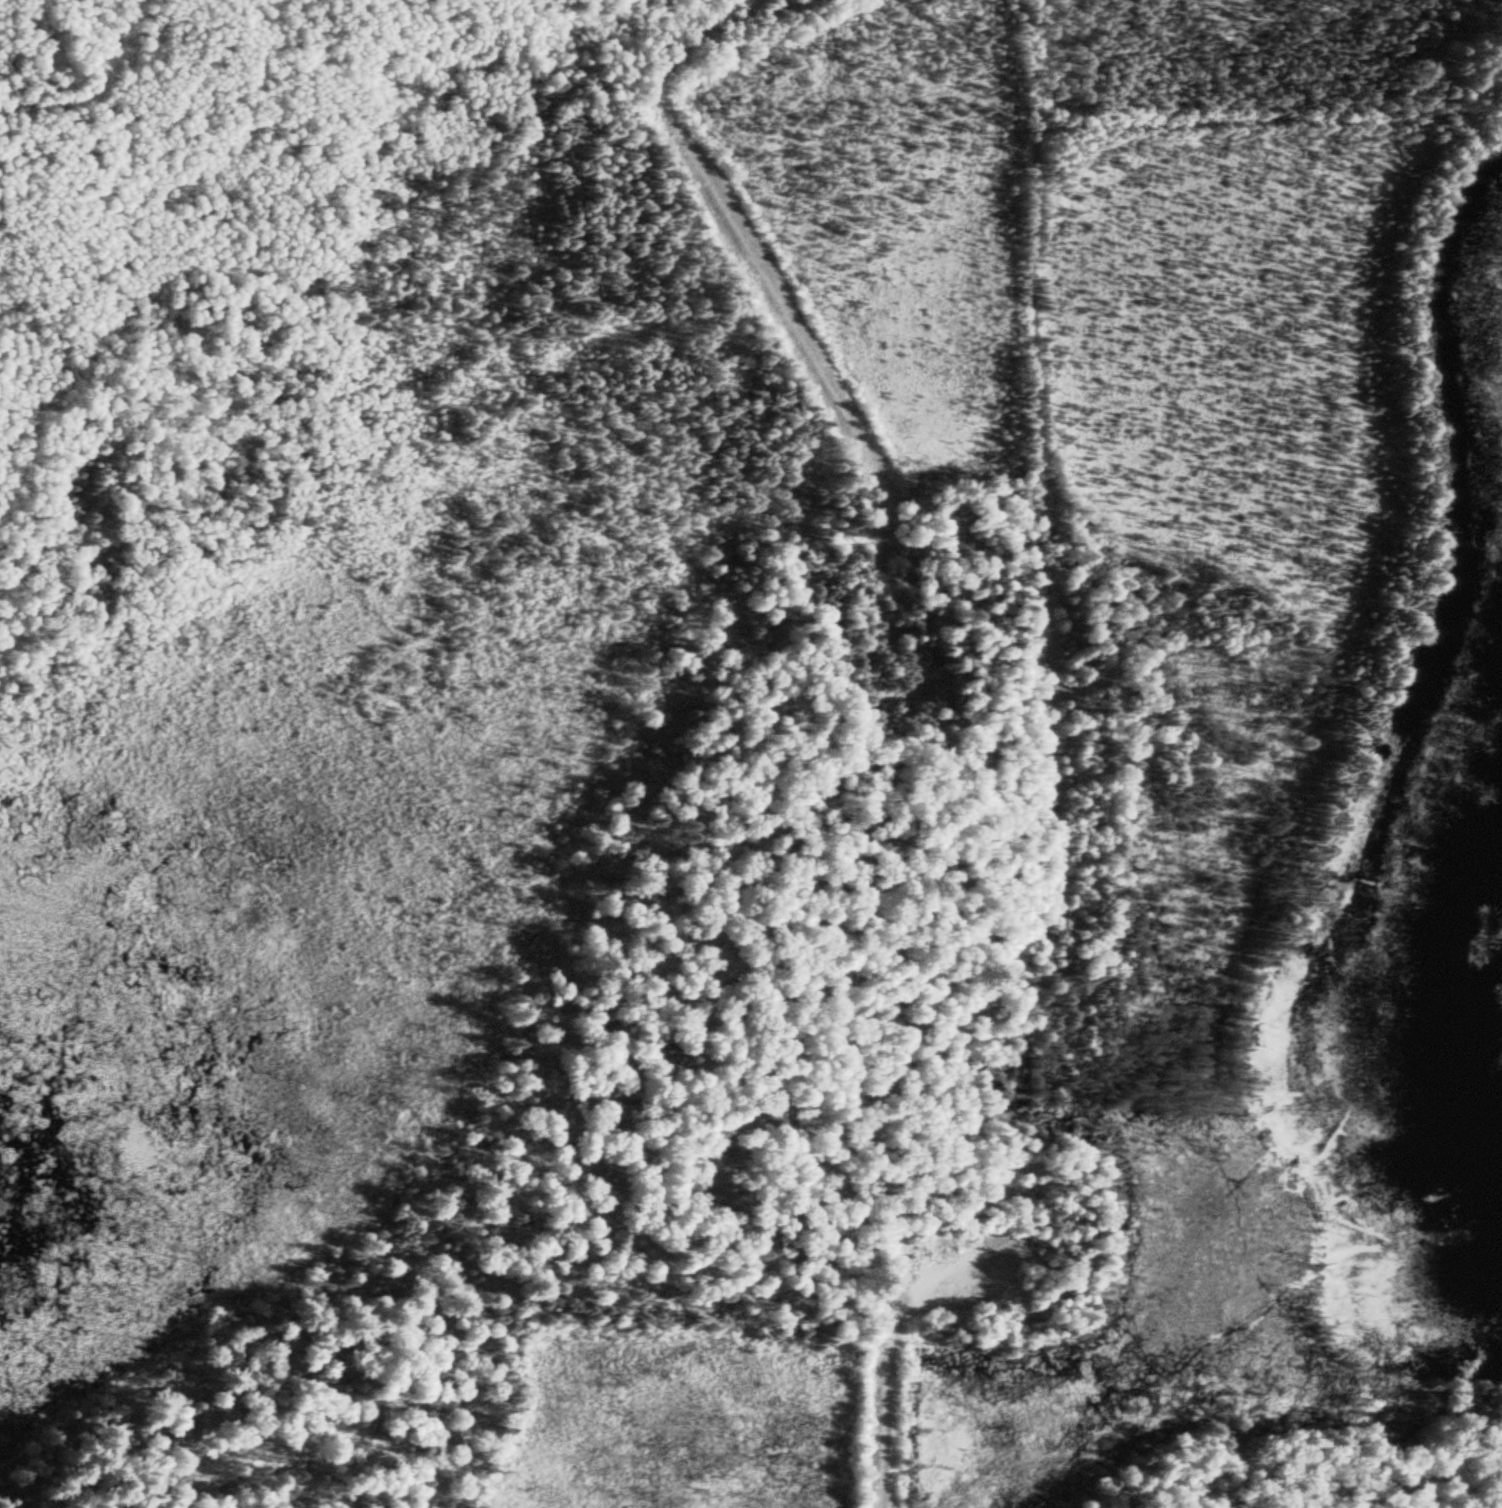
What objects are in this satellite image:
road: (1053, 57)
road: (101, 84)

